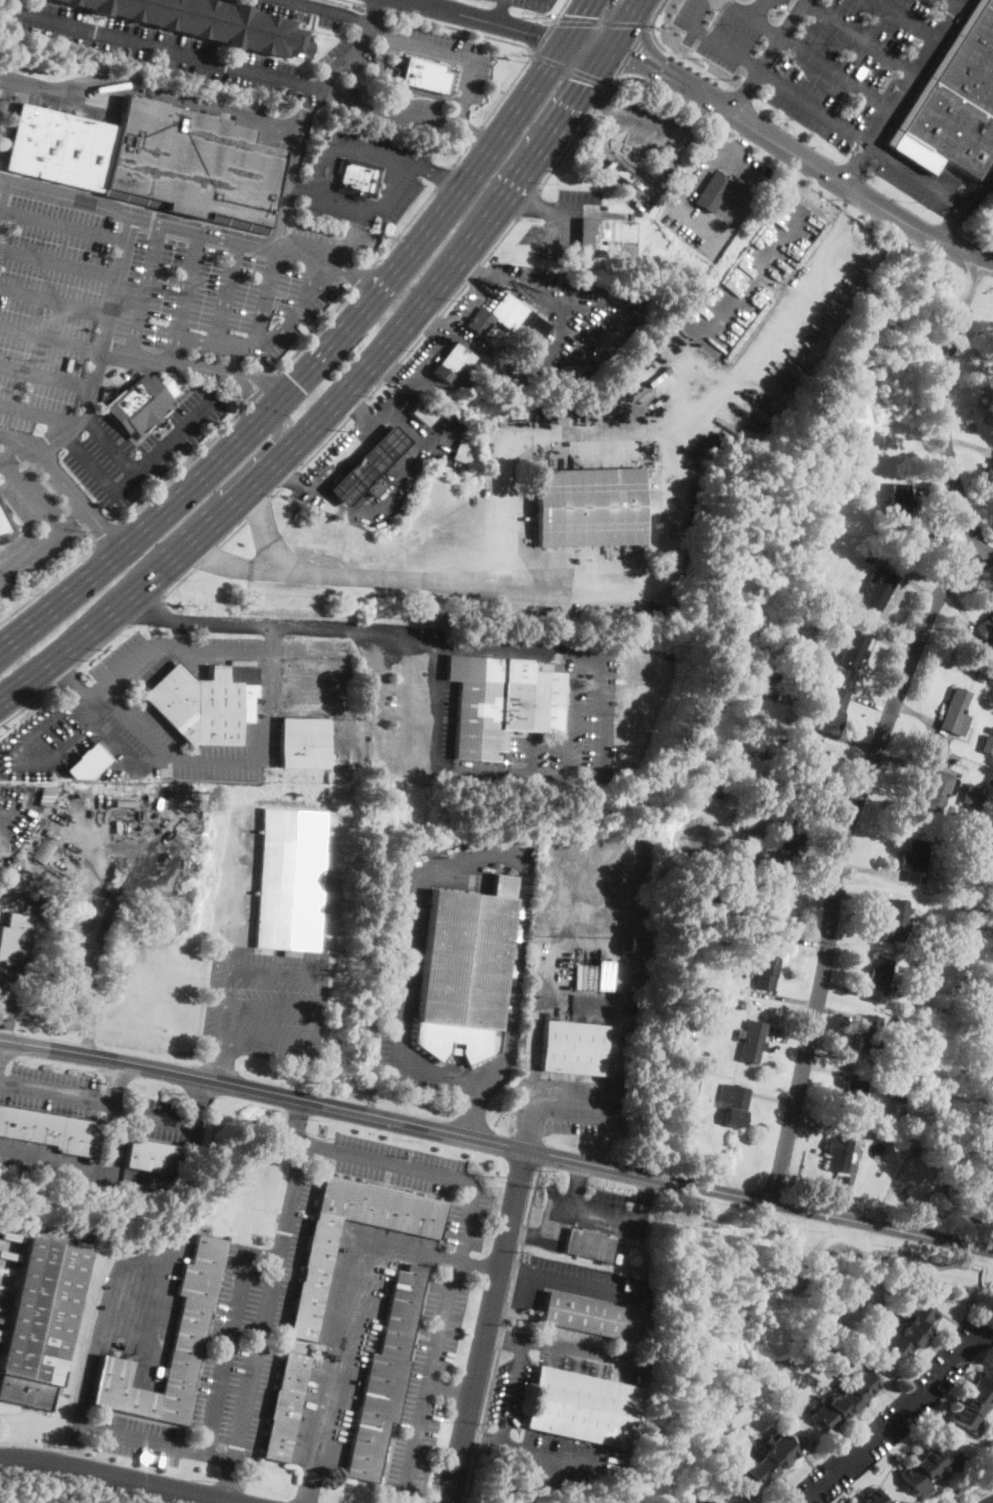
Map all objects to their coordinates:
road: (356, 2)
road: (425, 2)
parking lot: (532, 4)
road: (373, 6)
road: (331, 9)
road: (558, 9)
road: (761, 9)
parking lot: (300, 10)
road: (655, 11)
road: (500, 12)
traffic signals: (575, 13)
road: (754, 17)
road: (909, 18)
road: (481, 19)
road: (368, 20)
road: (600, 22)
building: (209, 23)
road: (649, 24)
road: (457, 27)
parking lot: (724, 27)
road: (385, 35)
traffic signals: (537, 35)
road: (543, 36)
road: (861, 36)
road: (712, 37)
parking lot: (146, 44)
road: (160, 48)
road: (630, 49)
road: (461, 54)
parking lot: (348, 55)
road: (765, 57)
parking lot: (455, 58)
traffic signals: (636, 58)
road: (702, 58)
road: (685, 60)
road: (339, 63)
parking lot: (853, 64)
road: (569, 67)
road: (835, 72)
building: (424, 75)
traffic signals: (584, 82)
road: (402, 85)
road: (494, 85)
road: (606, 85)
road: (657, 88)
road: (151, 89)
road: (505, 89)
road: (737, 90)
parking lot: (1, 92)
road: (328, 92)
road: (901, 92)
road: (597, 102)
building: (953, 102)
road: (597, 103)
road: (814, 104)
parking lot: (393, 108)
road: (396, 114)
parking lot: (642, 121)
road: (463, 126)
road: (474, 134)
building: (319, 138)
road: (777, 143)
road: (566, 148)
road: (670, 149)
road: (459, 153)
road: (401, 158)
building: (151, 160)
road: (625, 164)
road: (320, 165)
road: (289, 168)
road: (333, 171)
road: (917, 171)
road: (431, 172)
parking lot: (404, 174)
building: (623, 174)
road: (442, 175)
building: (357, 178)
road: (614, 180)
parking lot: (918, 180)
road: (294, 190)
building: (712, 192)
road: (308, 193)
parking lot: (681, 197)
road: (529, 201)
road: (346, 202)
road: (440, 203)
road: (528, 204)
parking lot: (735, 204)
road: (555, 209)
road: (687, 215)
road: (133, 217)
parking lot: (561, 221)
road: (952, 222)
road: (64, 224)
road: (357, 224)
road: (402, 225)
building: (605, 238)
road: (498, 240)
road: (308, 251)
building: (364, 251)
road: (59, 263)
road: (472, 271)
road: (355, 272)
road: (361, 276)
road: (522, 283)
road: (144, 289)
road: (226, 293)
road: (184, 297)
road: (452, 297)
road: (55, 300)
road: (264, 300)
parking lot: (140, 315)
building: (500, 316)
road: (429, 323)
road: (278, 327)
building: (540, 328)
road: (452, 331)
road: (50, 338)
road: (102, 346)
road: (410, 347)
building: (451, 360)
road: (173, 363)
road: (281, 366)
road: (389, 370)
road: (408, 375)
road: (46, 376)
traffic signals: (296, 380)
road: (353, 380)
road: (268, 381)
road: (265, 382)
road: (257, 393)
traffic signals: (249, 394)
road: (247, 404)
building: (138, 405)
road: (248, 407)
road: (943, 409)
road: (40, 412)
building: (422, 413)
road: (261, 417)
building: (772, 424)
traffic signals: (273, 440)
road: (110, 443)
road: (546, 444)
building: (459, 449)
road: (13, 451)
road: (342, 452)
road: (1, 460)
building: (456, 463)
building: (368, 467)
gas station: (368, 467)
road: (180, 468)
road: (137, 469)
building: (855, 470)
building: (991, 470)
road: (50, 484)
road: (65, 485)
road: (395, 486)
parking lot: (25, 490)
road: (273, 490)
road: (29, 496)
road: (216, 497)
building: (899, 501)
building: (590, 506)
road: (76, 517)
building: (5, 525)
road: (267, 529)
road: (105, 531)
road: (43, 542)
road: (123, 547)
parking lot: (36, 550)
road: (57, 576)
building: (878, 589)
building: (860, 590)
road: (146, 610)
building: (852, 613)
building: (986, 628)
building: (819, 630)
road: (343, 631)
road: (101, 643)
road: (163, 643)
building: (853, 648)
building: (982, 671)
building: (780, 672)
road: (63, 674)
road: (68, 677)
building: (777, 695)
road: (27, 702)
building: (205, 703)
building: (501, 703)
building: (834, 706)
building: (955, 712)
road: (137, 724)
building: (990, 730)
building: (304, 741)
building: (791, 743)
building: (987, 744)
building: (763, 753)
road: (27, 754)
road: (221, 760)
building: (87, 763)
road: (391, 766)
building: (807, 772)
road: (530, 774)
building: (989, 781)
building: (960, 788)
building: (938, 791)
building: (973, 796)
building: (790, 828)
building: (50, 832)
building: (0, 848)
building: (42, 851)
building: (955, 854)
building: (764, 858)
road: (839, 858)
road: (460, 861)
building: (770, 861)
building: (914, 861)
building: (290, 881)
building: (707, 897)
building: (960, 907)
building: (976, 908)
road: (0, 910)
building: (39, 914)
building: (701, 919)
building: (772, 919)
building: (897, 921)
building: (719, 923)
building: (695, 935)
building: (642, 943)
building: (14, 950)
building: (969, 969)
building: (464, 971)
road: (324, 972)
building: (924, 972)
building: (65, 973)
building: (764, 973)
parking lot: (401, 980)
building: (878, 980)
building: (925, 986)
building: (716, 991)
road: (573, 998)
parking lot: (266, 1002)
road: (273, 1007)
road: (7, 1013)
building: (903, 1026)
building: (867, 1035)
building: (750, 1041)
building: (686, 1044)
building: (572, 1047)
road: (220, 1061)
road: (117, 1083)
parking lot: (49, 1090)
road: (264, 1090)
building: (897, 1093)
building: (851, 1095)
road: (97, 1100)
road: (197, 1100)
road: (548, 1100)
building: (733, 1104)
road: (473, 1109)
building: (678, 1116)
road: (296, 1119)
parking lot: (166, 1122)
building: (950, 1127)
building: (51, 1131)
building: (981, 1137)
building: (992, 1139)
road: (115, 1144)
building: (838, 1148)
building: (151, 1156)
road: (365, 1158)
building: (842, 1178)
parking lot: (418, 1179)
building: (944, 1181)
road: (576, 1183)
road: (647, 1199)
road: (760, 1200)
road: (578, 1207)
parking lot: (586, 1214)
road: (528, 1235)
building: (588, 1243)
building: (318, 1253)
building: (631, 1253)
building: (617, 1259)
road: (514, 1270)
parking lot: (571, 1283)
road: (583, 1285)
road: (356, 1290)
road: (522, 1306)
building: (588, 1315)
building: (40, 1322)
road: (489, 1327)
parking lot: (249, 1328)
building: (911, 1329)
building: (188, 1332)
road: (503, 1335)
building: (644, 1335)
road: (555, 1344)
road: (96, 1351)
building: (384, 1376)
parking lot: (426, 1385)
road: (451, 1390)
parking lot: (510, 1390)
road: (510, 1392)
building: (846, 1397)
building: (973, 1402)
building: (284, 1407)
building: (583, 1407)
road: (214, 1415)
road: (898, 1419)
parking lot: (135, 1437)
road: (534, 1451)
parking lot: (558, 1462)
building: (763, 1465)
building: (929, 1466)
road: (115, 1477)
road: (78, 1486)
road: (309, 1487)
building: (871, 1497)
building: (698, 1500)
road: (991, 1502)

